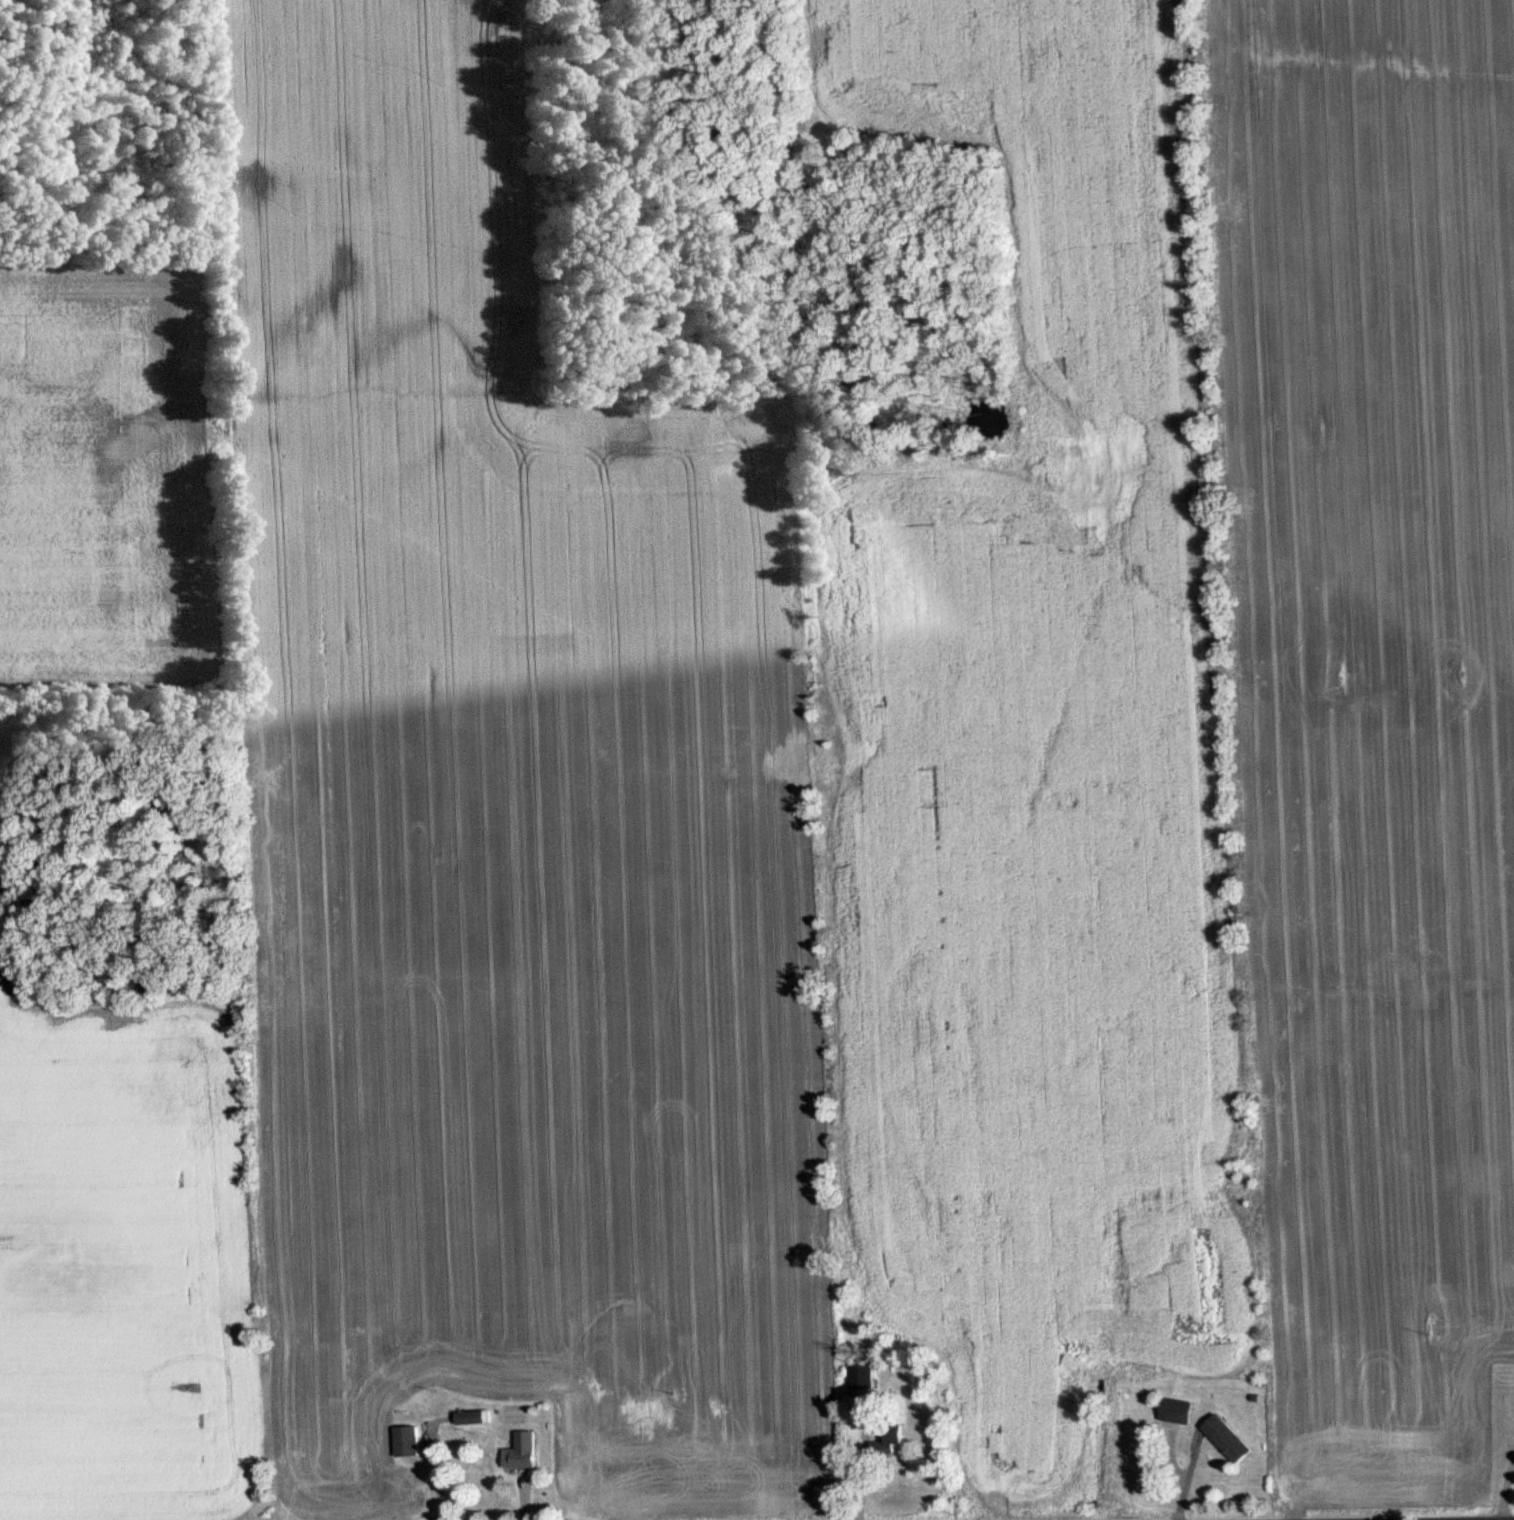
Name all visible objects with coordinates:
building: (855, 1377)
building: (1173, 1412)
building: (464, 1418)
building: (1223, 1440)
building: (402, 1442)
building: (881, 1442)
building: (515, 1452)

